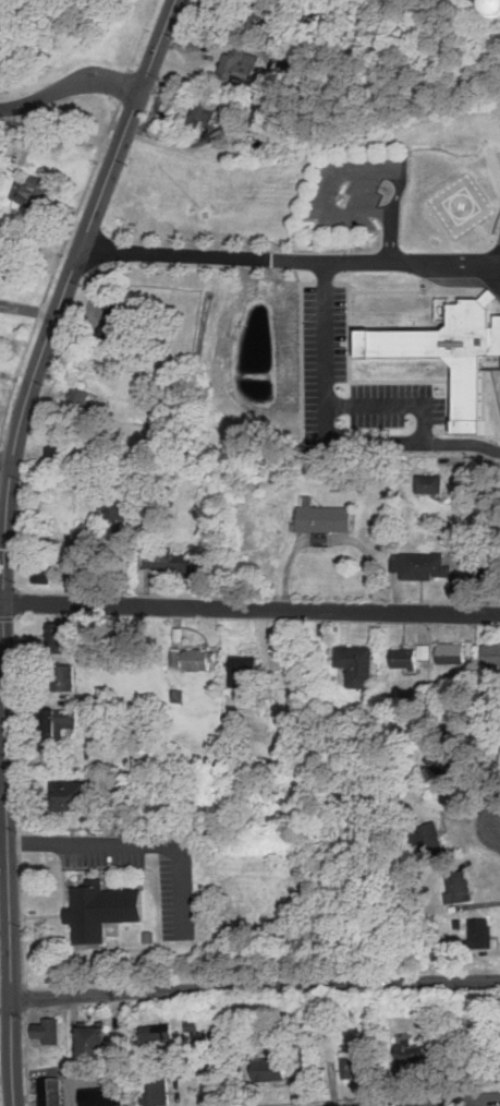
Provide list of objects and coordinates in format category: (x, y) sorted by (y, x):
building: (495, 10)
building: (285, 26)
building: (239, 67)
road: (69, 81)
building: (205, 110)
road: (368, 175)
building: (33, 193)
road: (476, 214)
road: (391, 237)
road: (280, 260)
road: (490, 264)
road: (62, 294)
road: (27, 305)
building: (118, 318)
building: (498, 339)
road: (399, 399)
building: (80, 400)
road: (330, 432)
building: (59, 449)
road: (5, 459)
building: (430, 484)
building: (115, 495)
building: (324, 517)
building: (322, 540)
building: (169, 562)
building: (420, 565)
building: (483, 565)
building: (44, 573)
road: (249, 609)
building: (57, 637)
building: (424, 651)
building: (453, 653)
building: (492, 656)
building: (405, 658)
building: (195, 659)
building: (358, 665)
building: (243, 670)
building: (63, 677)
building: (56, 728)
building: (444, 755)
building: (499, 764)
building: (70, 796)
building: (430, 837)
road: (139, 840)
building: (459, 890)
road: (7, 892)
building: (102, 911)
building: (480, 934)
road: (254, 987)
building: (347, 1010)
building: (194, 1015)
building: (194, 1024)
building: (45, 1030)
building: (158, 1031)
building: (88, 1042)
building: (418, 1051)
building: (359, 1062)
building: (295, 1068)
building: (271, 1069)
building: (51, 1085)
building: (156, 1091)
building: (102, 1096)
building: (52, 1099)
road: (443, 1101)

